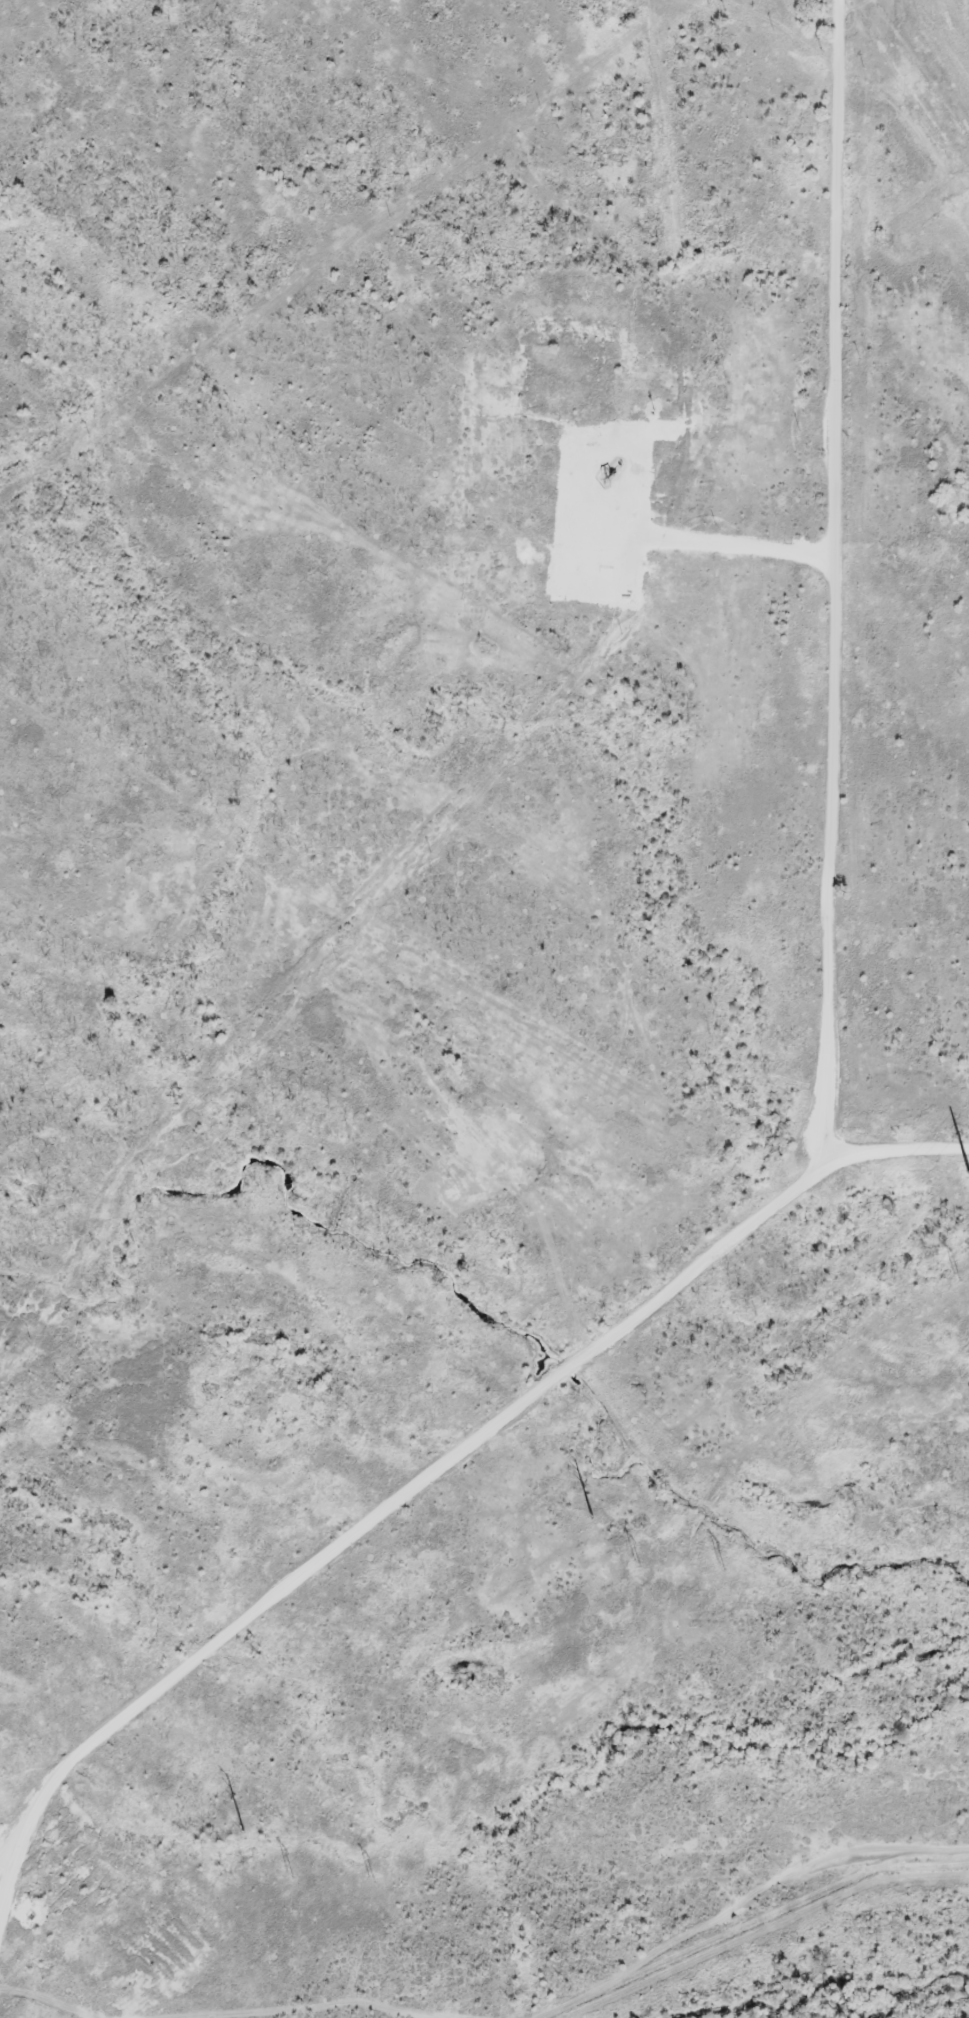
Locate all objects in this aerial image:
road: (722, 547)
road: (830, 649)
power tower: (968, 1172)
power tower: (965, 1280)
road: (394, 1503)
power tower: (593, 1521)
power tower: (641, 1563)
power tower: (722, 1564)
power tower: (247, 1833)
power tower: (296, 1876)
power tower: (372, 1877)

